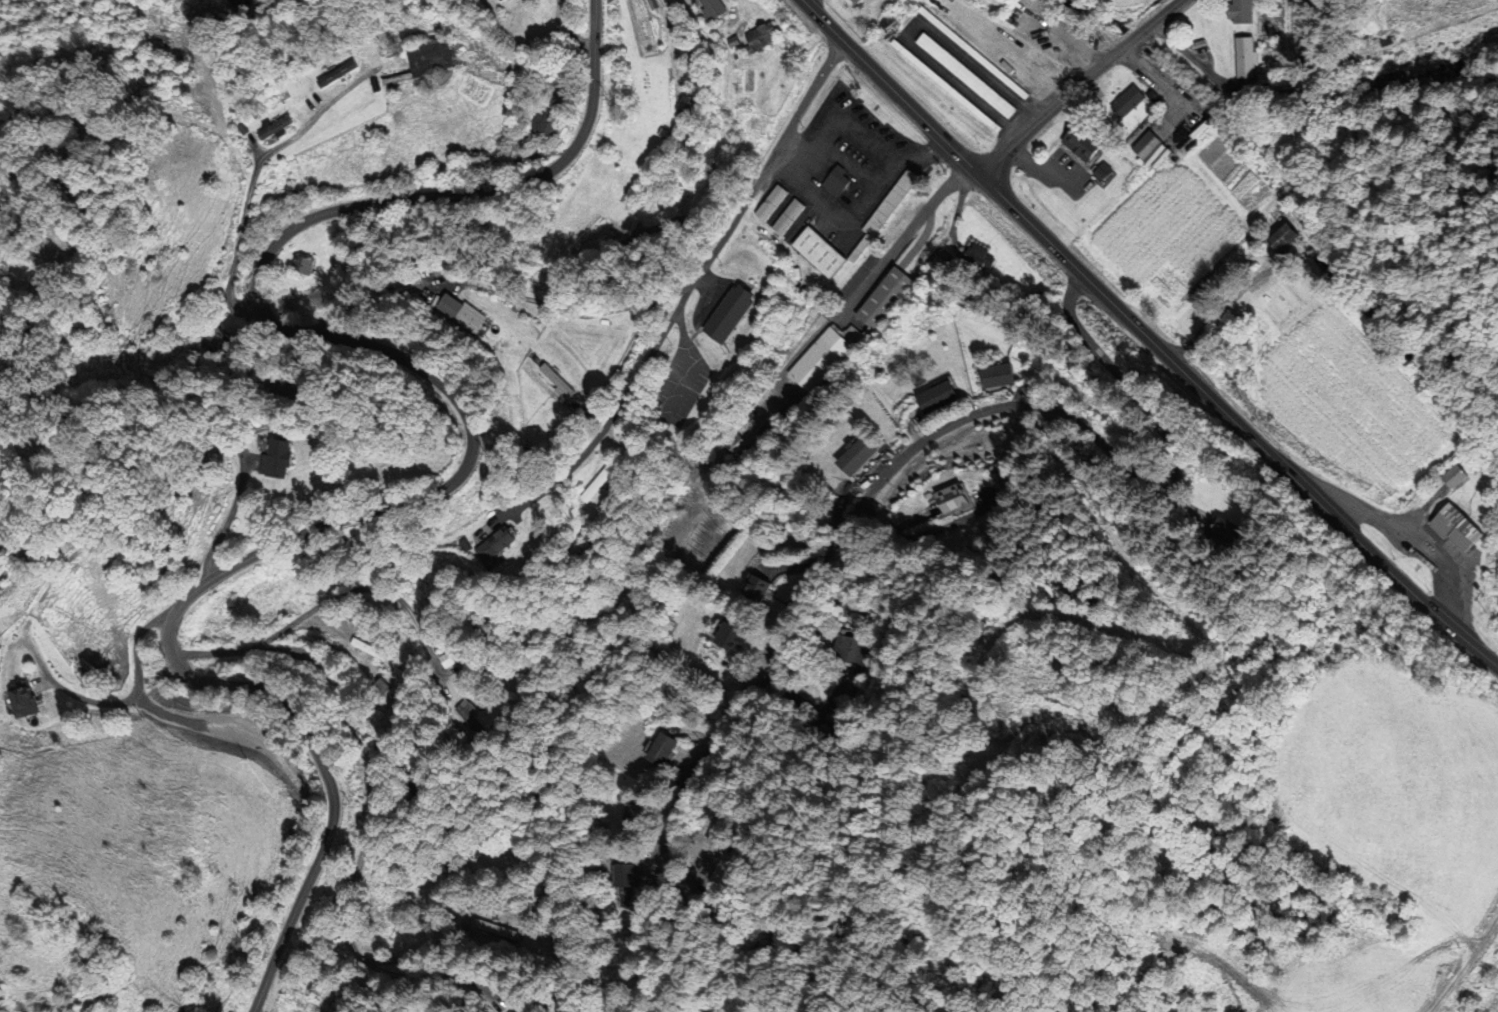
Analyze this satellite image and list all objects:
building: (860, 1)
building: (721, 8)
building: (1241, 12)
road: (1150, 24)
building: (767, 37)
building: (976, 52)
building: (435, 57)
building: (1242, 58)
building: (1446, 74)
building: (970, 75)
building: (1119, 105)
road: (1049, 111)
building: (548, 117)
building: (275, 128)
building: (1074, 145)
building: (1146, 152)
building: (843, 182)
building: (898, 199)
building: (773, 202)
building: (792, 216)
building: (1272, 240)
building: (986, 257)
building: (311, 263)
road: (692, 285)
building: (887, 298)
building: (738, 311)
building: (1262, 311)
building: (463, 313)
road: (1146, 337)
building: (213, 339)
building: (820, 359)
building: (996, 376)
building: (938, 399)
building: (792, 406)
road: (1044, 407)
building: (859, 456)
building: (281, 458)
road: (466, 469)
building: (606, 483)
building: (952, 503)
road: (220, 520)
building: (1446, 526)
building: (506, 542)
road: (309, 611)
building: (739, 634)
road: (245, 650)
building: (852, 650)
building: (381, 651)
building: (455, 660)
building: (477, 715)
road: (383, 745)
building: (670, 749)
building: (419, 782)
road: (374, 811)
road: (670, 824)
building: (634, 875)
road: (432, 949)
road: (437, 975)

